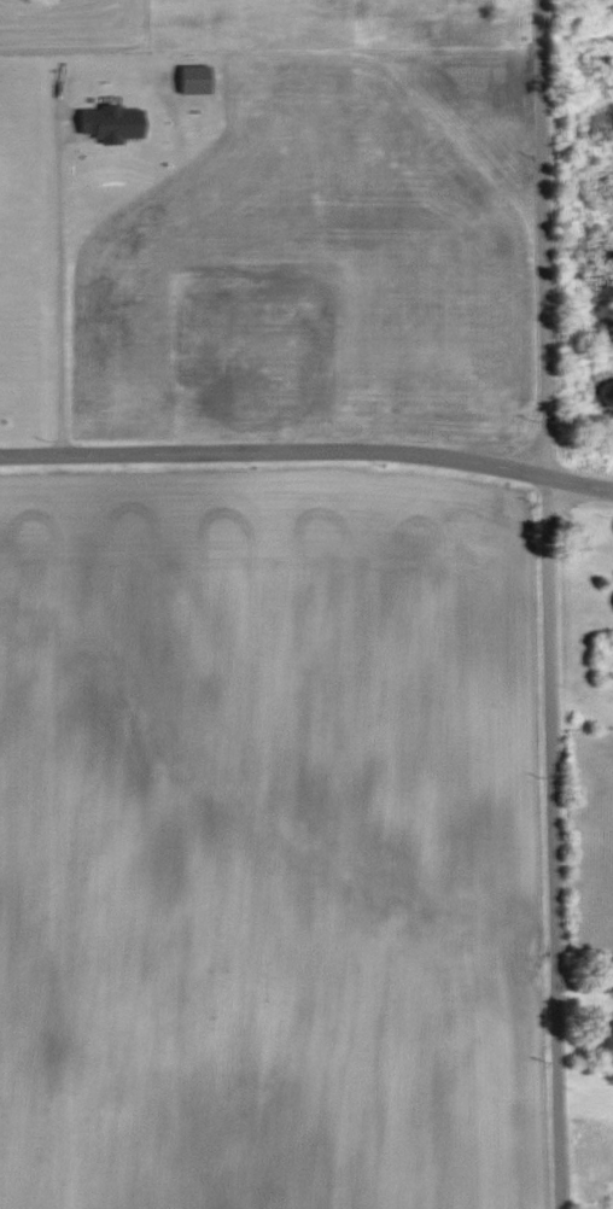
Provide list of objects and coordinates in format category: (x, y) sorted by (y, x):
building: (197, 80)
building: (113, 123)
road: (62, 281)
road: (308, 451)
road: (545, 604)

